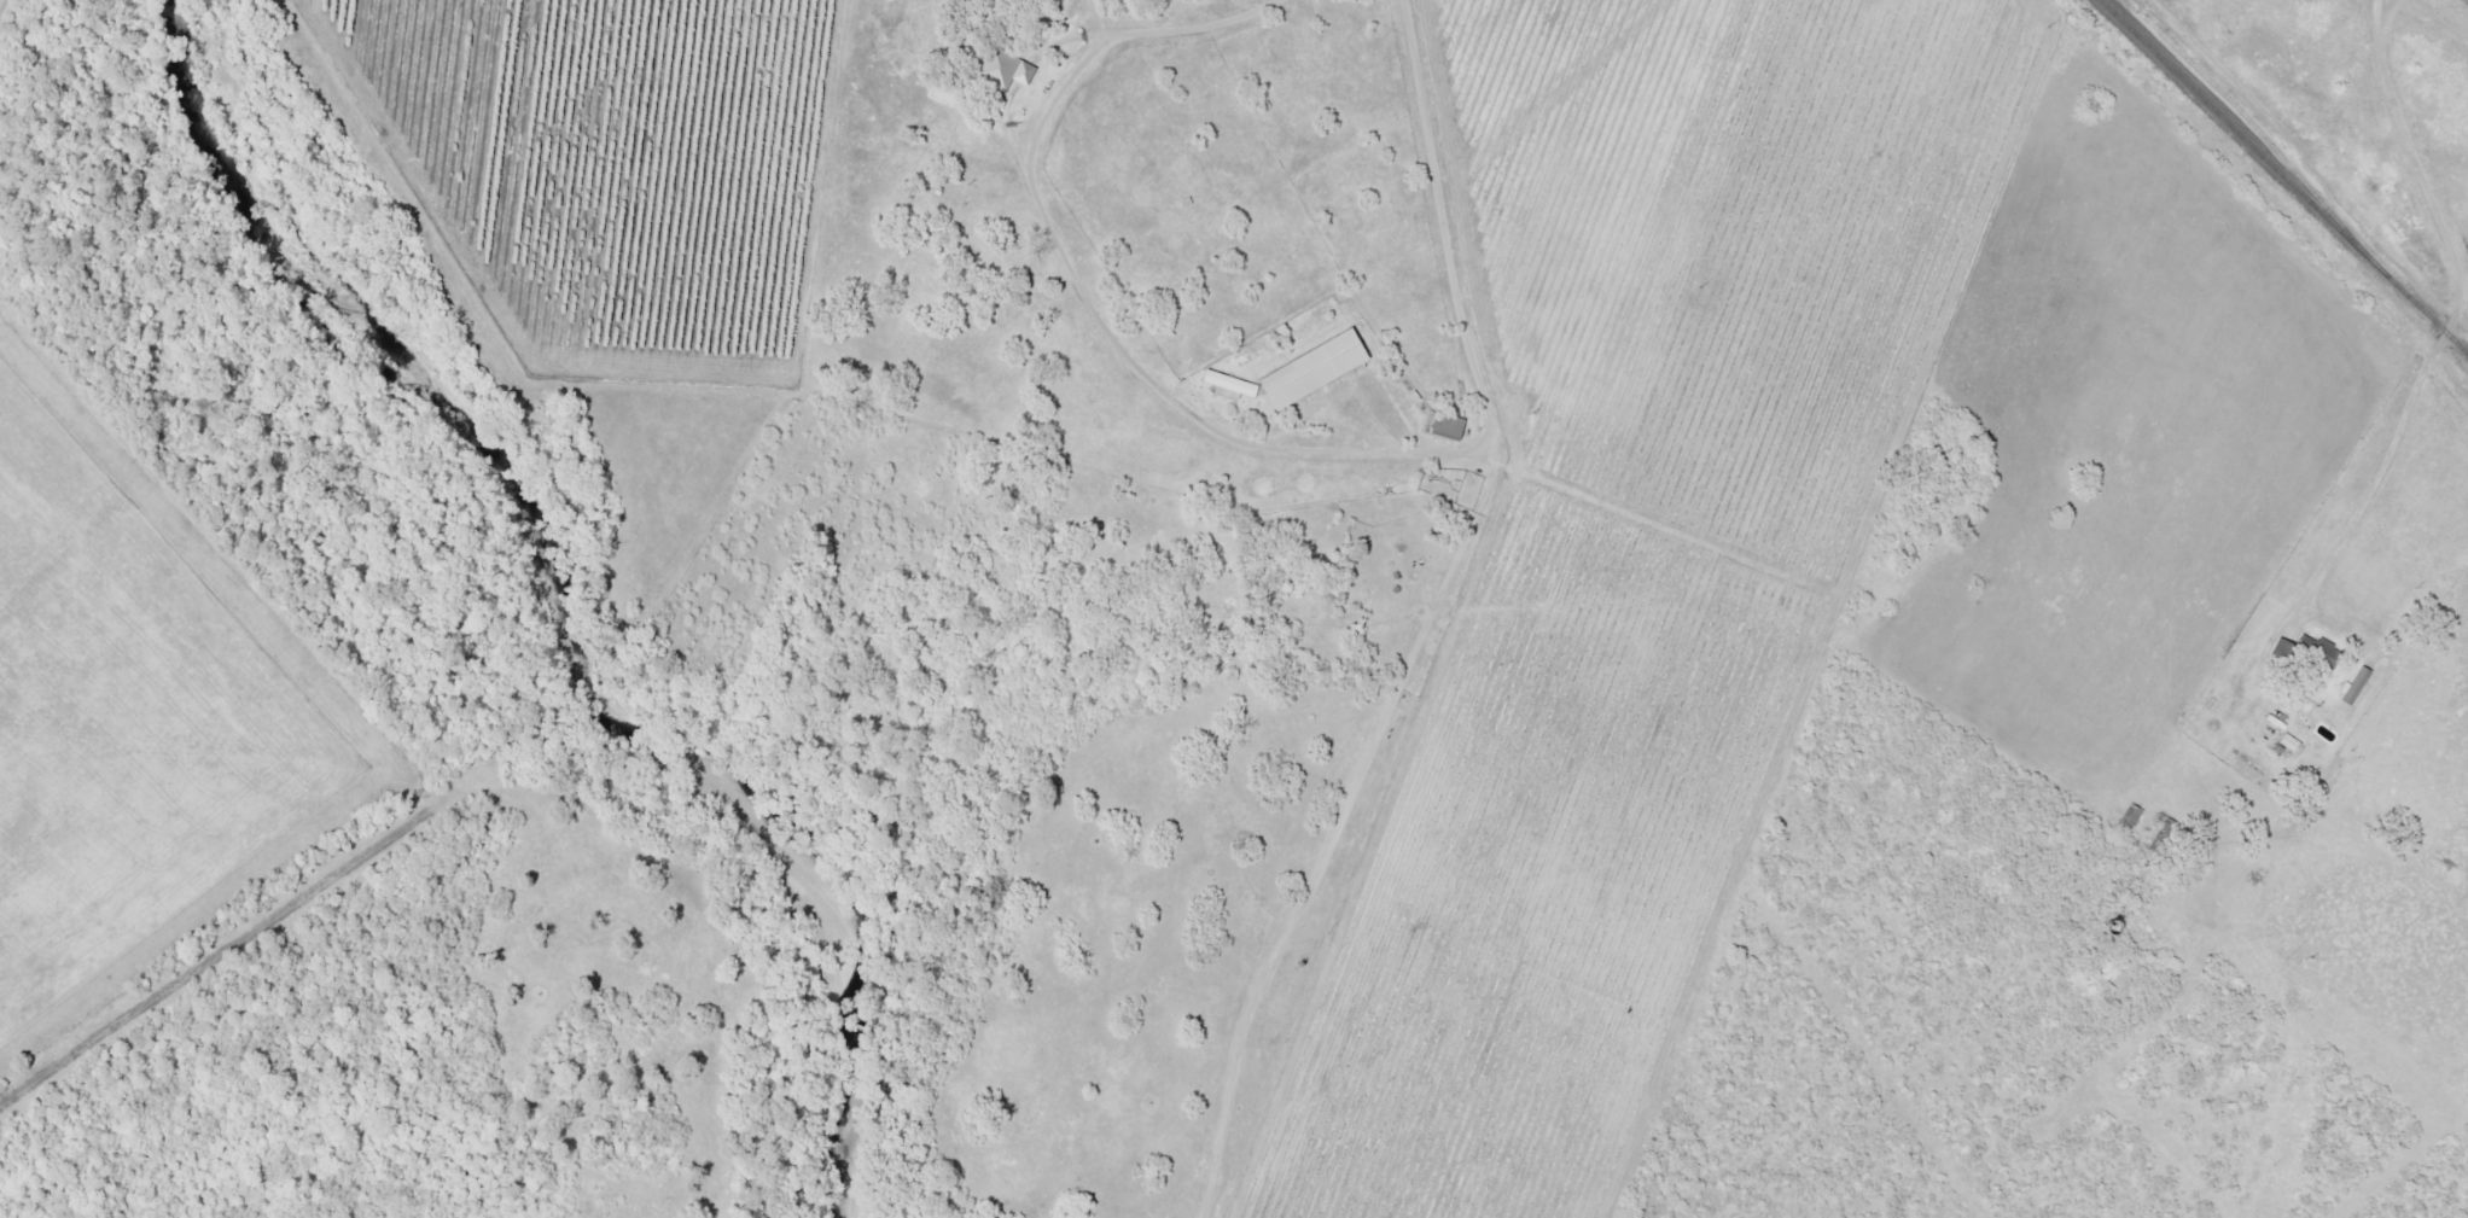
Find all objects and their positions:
building: (1005, 70)
railway: (2283, 177)
building: (1310, 369)
building: (1227, 385)
building: (1445, 425)
road: (1420, 608)
road: (2306, 625)
building: (2323, 653)
building: (2352, 686)
building: (2288, 741)

